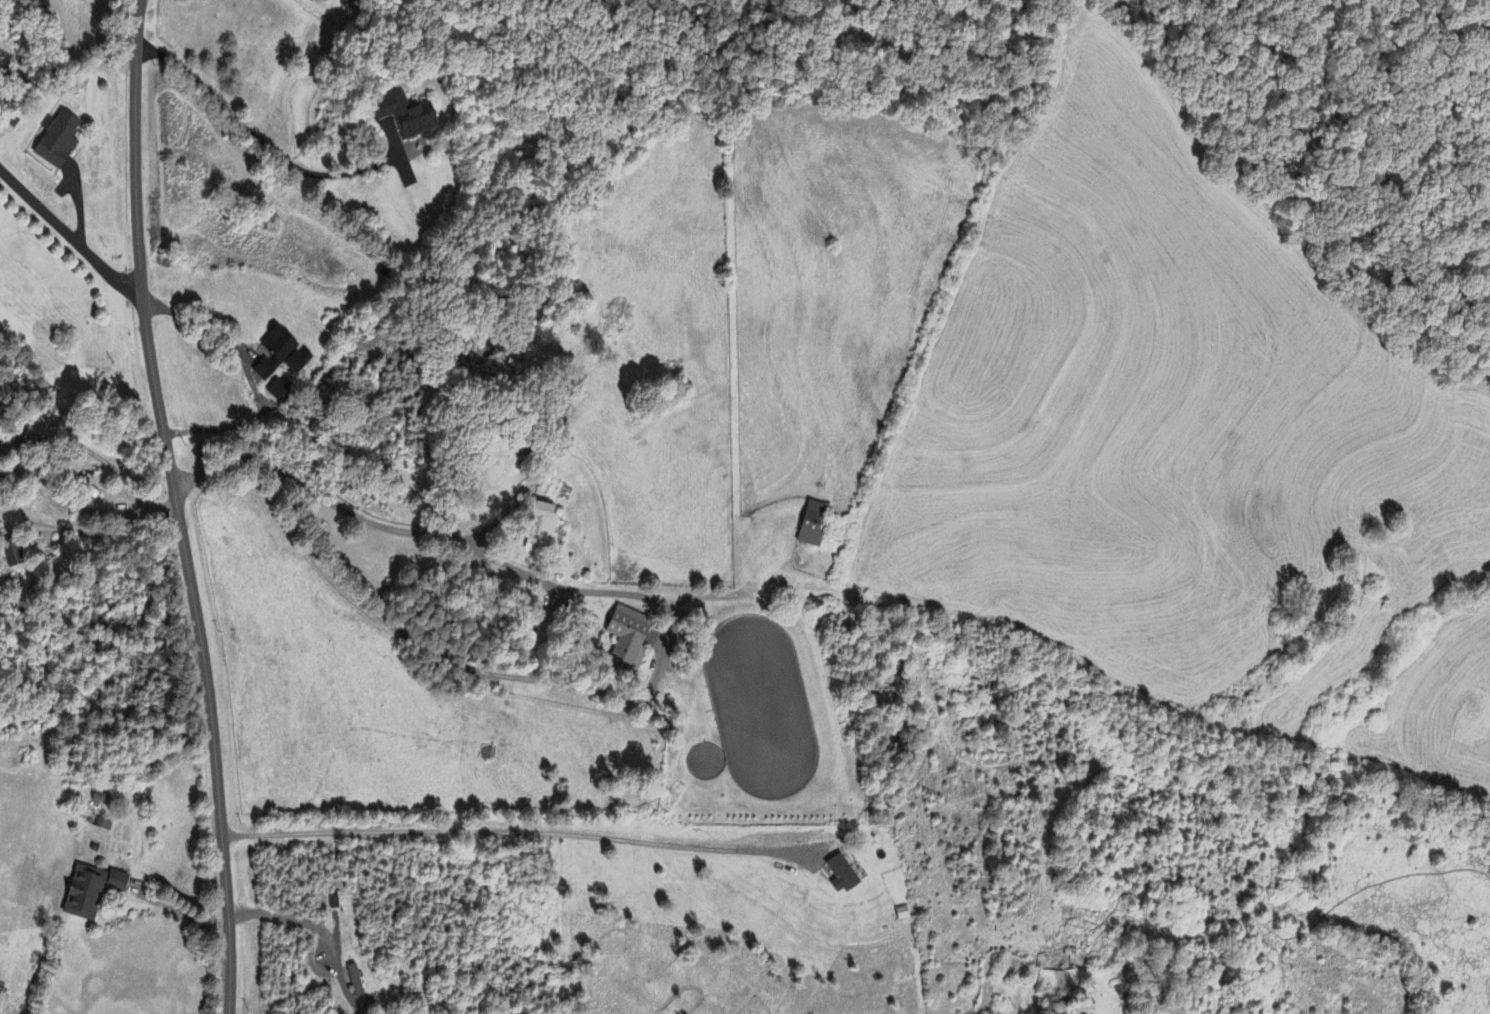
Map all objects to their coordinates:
building: (408, 117)
road: (255, 136)
building: (59, 142)
road: (67, 224)
building: (276, 353)
building: (300, 361)
road: (248, 377)
building: (281, 389)
road: (87, 451)
road: (177, 507)
road: (84, 509)
building: (545, 522)
building: (815, 525)
road: (419, 529)
building: (15, 555)
building: (630, 637)
building: (102, 800)
road: (513, 836)
building: (842, 875)
building: (92, 892)
road: (180, 912)
road: (312, 925)
building: (356, 981)
building: (1058, 1006)

